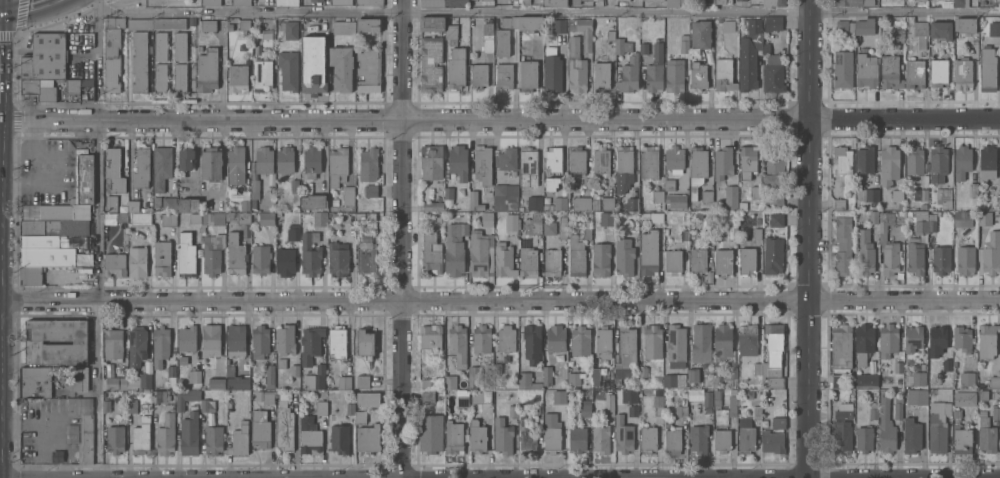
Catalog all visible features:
building: (316, 0)
building: (739, 0)
building: (917, 0)
building: (513, 1)
building: (525, 1)
building: (708, 1)
building: (723, 1)
building: (211, 2)
building: (241, 2)
building: (287, 2)
building: (340, 2)
building: (368, 2)
building: (456, 2)
building: (573, 2)
building: (774, 2)
building: (854, 2)
building: (943, 2)
building: (432, 3)
building: (555, 3)
building: (683, 3)
building: (959, 3)
road: (25, 8)
road: (549, 12)
building: (191, 21)
building: (510, 21)
building: (896, 21)
building: (772, 22)
building: (141, 23)
building: (169, 23)
building: (432, 23)
building: (530, 23)
building: (208, 24)
building: (244, 24)
building: (368, 25)
building: (965, 25)
building: (344, 26)
building: (559, 26)
building: (728, 26)
building: (865, 26)
building: (841, 27)
building: (851, 27)
building: (994, 28)
building: (289, 29)
building: (941, 29)
building: (582, 30)
building: (451, 31)
building: (920, 32)
building: (700, 34)
building: (610, 35)
building: (898, 36)
building: (267, 37)
building: (502, 41)
building: (453, 42)
building: (684, 43)
building: (179, 45)
building: (488, 45)
building: (160, 46)
building: (621, 46)
building: (643, 48)
building: (112, 52)
building: (749, 53)
building: (45, 57)
building: (139, 60)
building: (313, 64)
building: (431, 64)
building: (576, 65)
building: (342, 67)
building: (987, 67)
building: (456, 68)
building: (842, 68)
building: (288, 69)
building: (552, 69)
building: (654, 69)
building: (207, 70)
building: (368, 70)
building: (866, 70)
building: (773, 71)
building: (890, 72)
building: (938, 72)
building: (914, 73)
building: (963, 73)
building: (479, 74)
building: (528, 74)
building: (724, 74)
building: (262, 75)
building: (504, 75)
building: (628, 75)
building: (674, 75)
building: (601, 76)
building: (697, 76)
building: (160, 77)
building: (179, 77)
building: (237, 78)
building: (76, 84)
building: (39, 89)
road: (500, 121)
building: (91, 141)
building: (185, 158)
building: (507, 158)
building: (553, 159)
building: (674, 159)
building: (842, 159)
building: (864, 159)
building: (938, 159)
building: (264, 160)
building: (285, 160)
building: (577, 160)
building: (601, 160)
building: (749, 160)
building: (914, 160)
building: (236, 161)
building: (311, 161)
building: (431, 161)
building: (649, 161)
building: (962, 161)
building: (211, 162)
building: (458, 162)
building: (723, 162)
building: (987, 162)
building: (482, 163)
building: (368, 164)
building: (889, 164)
building: (338, 165)
building: (161, 166)
building: (528, 166)
building: (773, 166)
building: (141, 168)
building: (624, 168)
building: (697, 168)
building: (113, 169)
building: (936, 177)
building: (85, 178)
building: (925, 181)
building: (255, 184)
building: (669, 184)
building: (245, 185)
building: (294, 185)
building: (972, 189)
building: (370, 190)
building: (731, 190)
building: (755, 192)
building: (549, 193)
building: (348, 194)
building: (872, 194)
building: (897, 194)
building: (920, 194)
building: (706, 195)
building: (449, 196)
building: (657, 196)
building: (505, 197)
building: (943, 197)
building: (474, 200)
building: (676, 200)
building: (156, 201)
building: (314, 201)
building: (773, 201)
building: (335, 202)
building: (534, 202)
building: (561, 202)
building: (111, 203)
building: (581, 203)
building: (607, 203)
building: (169, 204)
building: (187, 204)
building: (838, 204)
building: (900, 204)
building: (133, 205)
building: (742, 205)
building: (433, 206)
building: (923, 206)
building: (56, 212)
building: (643, 215)
building: (180, 216)
building: (366, 216)
building: (873, 216)
building: (121, 217)
building: (238, 217)
building: (453, 217)
building: (655, 217)
building: (141, 218)
building: (195, 218)
building: (212, 218)
building: (266, 218)
building: (707, 218)
building: (963, 218)
building: (984, 218)
building: (168, 219)
building: (320, 219)
building: (487, 219)
building: (607, 219)
building: (776, 219)
building: (757, 220)
building: (921, 221)
building: (511, 222)
building: (536, 222)
building: (931, 222)
building: (885, 224)
building: (54, 227)
building: (562, 227)
building: (549, 228)
building: (732, 230)
building: (293, 232)
building: (587, 233)
building: (757, 233)
building: (684, 235)
road: (100, 238)
road: (402, 239)
road: (811, 239)
building: (843, 245)
building: (455, 247)
building: (44, 251)
building: (864, 251)
building: (212, 252)
building: (478, 252)
building: (648, 252)
building: (991, 252)
building: (310, 253)
building: (431, 253)
building: (186, 254)
building: (366, 254)
building: (697, 255)
building: (772, 255)
building: (576, 256)
building: (624, 256)
building: (915, 256)
building: (672, 257)
building: (161, 258)
building: (236, 258)
building: (260, 258)
building: (601, 258)
building: (890, 258)
building: (941, 258)
building: (503, 259)
building: (338, 260)
building: (746, 260)
building: (965, 260)
building: (285, 261)
building: (723, 261)
building: (137, 262)
building: (528, 262)
building: (553, 262)
building: (114, 264)
building: (30, 275)
road: (500, 302)
building: (430, 336)
building: (747, 336)
building: (913, 337)
building: (187, 338)
building: (556, 338)
building: (962, 338)
building: (210, 339)
building: (285, 339)
building: (482, 339)
building: (506, 339)
building: (987, 339)
building: (235, 340)
building: (888, 340)
building: (937, 340)
building: (35, 341)
building: (259, 341)
building: (581, 341)
building: (652, 341)
building: (337, 342)
building: (364, 342)
building: (603, 342)
building: (628, 342)
building: (675, 342)
building: (722, 342)
building: (863, 342)
building: (113, 343)
building: (532, 343)
building: (700, 343)
building: (310, 344)
building: (137, 345)
building: (160, 345)
building: (458, 345)
building: (841, 347)
building: (772, 357)
building: (183, 360)
building: (281, 363)
building: (947, 364)
building: (954, 364)
building: (716, 366)
building: (898, 367)
building: (230, 370)
building: (294, 370)
building: (497, 370)
building: (730, 370)
building: (621, 373)
building: (643, 373)
building: (269, 374)
building: (171, 375)
building: (547, 375)
building: (193, 376)
building: (474, 376)
building: (595, 376)
building: (693, 376)
building: (80, 378)
building: (315, 378)
building: (574, 378)
building: (967, 378)
building: (919, 379)
building: (362, 380)
building: (656, 380)
building: (674, 380)
building: (836, 380)
building: (866, 380)
building: (140, 381)
building: (180, 381)
building: (527, 381)
building: (995, 381)
building: (116, 382)
building: (344, 382)
building: (450, 382)
building: (35, 383)
building: (216, 383)
building: (238, 383)
building: (432, 384)
building: (441, 392)
building: (572, 393)
building: (983, 394)
building: (159, 395)
building: (629, 395)
building: (684, 395)
building: (264, 396)
building: (428, 396)
building: (917, 396)
building: (186, 397)
building: (481, 397)
building: (559, 397)
building: (716, 397)
building: (967, 397)
building: (367, 398)
building: (707, 398)
building: (462, 401)
building: (106, 405)
building: (131, 405)
building: (208, 405)
building: (732, 405)
building: (349, 407)
building: (536, 407)
building: (585, 407)
building: (321, 408)
building: (898, 408)
building: (944, 408)
building: (229, 409)
building: (633, 410)
building: (658, 410)
building: (873, 410)
building: (513, 411)
building: (609, 411)
building: (681, 411)
building: (756, 412)
building: (995, 412)
building: (843, 414)
building: (360, 416)
building: (207, 418)
building: (668, 422)
building: (778, 422)
building: (284, 426)
building: (886, 427)
building: (260, 430)
road: (37, 431)
building: (166, 433)
building: (189, 433)
building: (431, 433)
building: (552, 433)
building: (960, 433)
building: (71, 434)
building: (746, 434)
building: (937, 434)
building: (141, 435)
building: (623, 435)
building: (911, 435)
building: (503, 436)
building: (310, 437)
building: (454, 437)
building: (477, 437)
building: (526, 437)
building: (842, 437)
building: (339, 438)
building: (648, 438)
building: (698, 438)
building: (864, 438)
building: (987, 438)
building: (86, 439)
building: (115, 439)
building: (213, 439)
building: (368, 439)
building: (577, 439)
building: (601, 439)
building: (239, 440)
building: (673, 440)
building: (721, 440)
building: (773, 442)
road: (741, 474)

